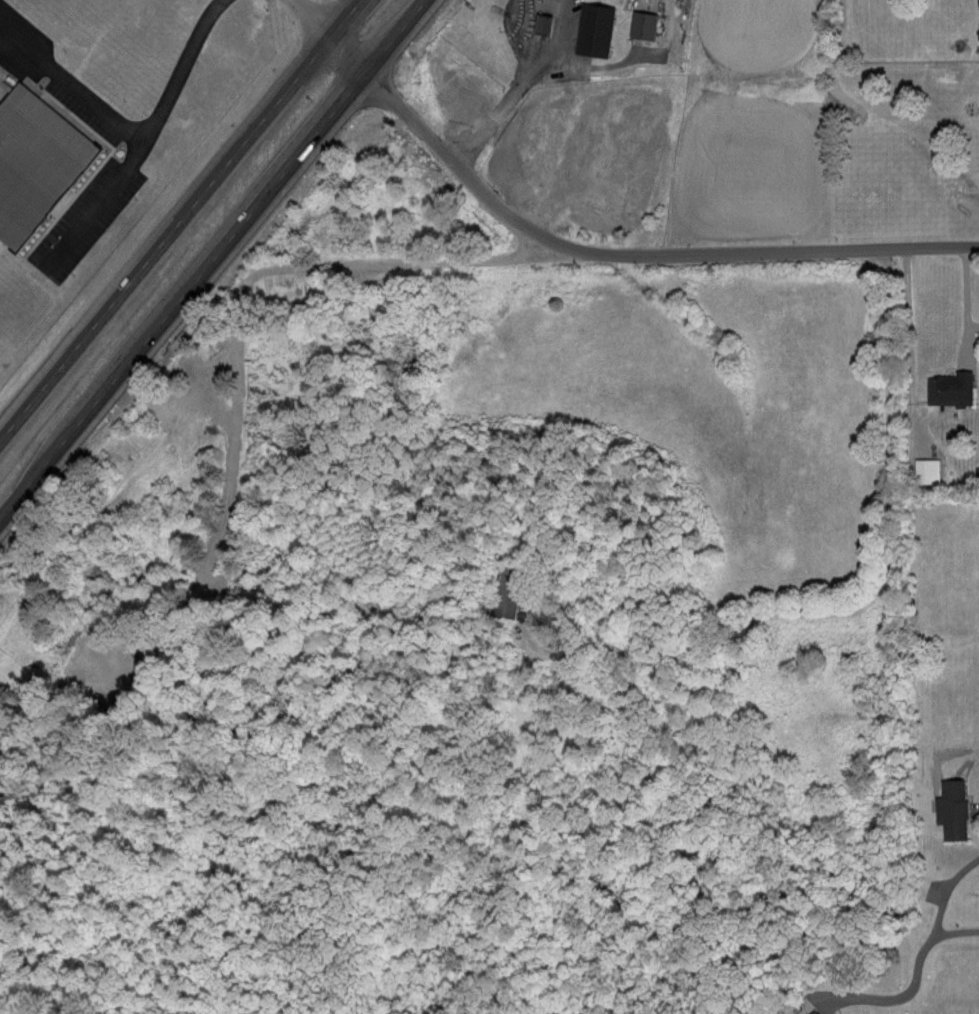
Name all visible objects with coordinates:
building: (643, 24)
road: (562, 27)
building: (595, 28)
road: (634, 51)
road: (178, 69)
road: (71, 85)
road: (508, 96)
building: (632, 137)
building: (36, 162)
road: (569, 178)
road: (586, 198)
road: (92, 206)
road: (180, 219)
road: (697, 252)
road: (212, 259)
road: (964, 305)
road: (232, 343)
building: (195, 368)
building: (950, 389)
building: (929, 470)
building: (504, 592)
road: (886, 650)
road: (701, 652)
building: (952, 809)
road: (948, 906)
road: (909, 991)
building: (814, 1012)

